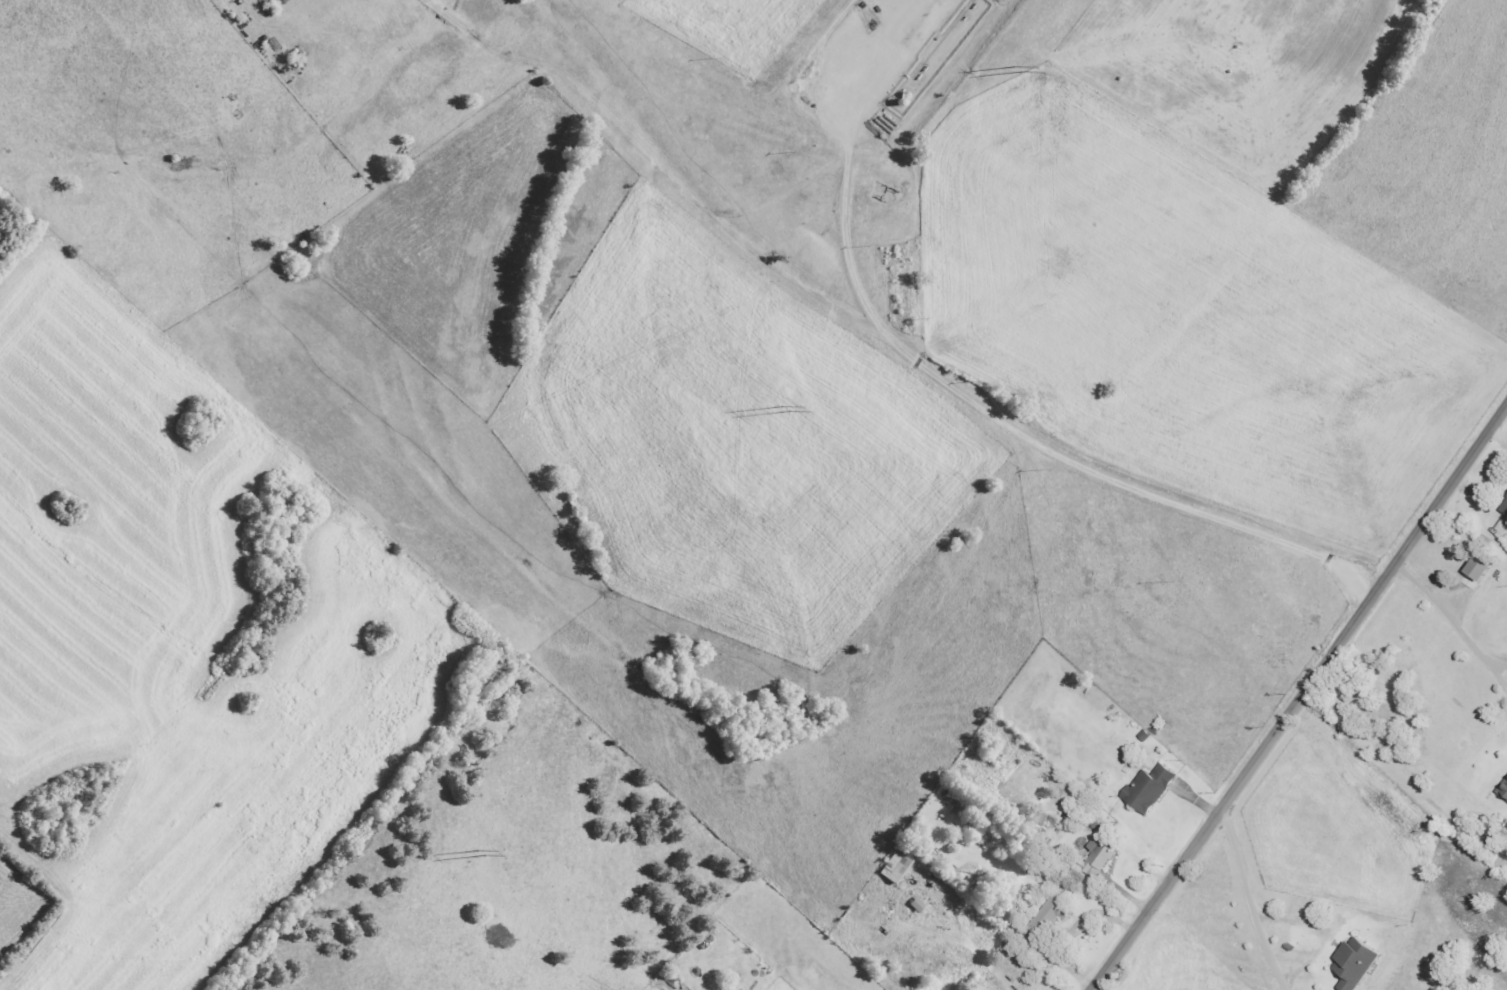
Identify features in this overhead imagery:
power tower: (1015, 69)
road: (632, 145)
power tower: (783, 408)
road: (1017, 431)
building: (1504, 507)
building: (1474, 567)
road: (1453, 624)
road: (1300, 698)
building: (1151, 787)
building: (1504, 789)
power tower: (480, 852)
building: (1100, 857)
building: (897, 867)
road: (1244, 871)
building: (918, 905)
building: (1051, 914)
building: (1357, 962)

